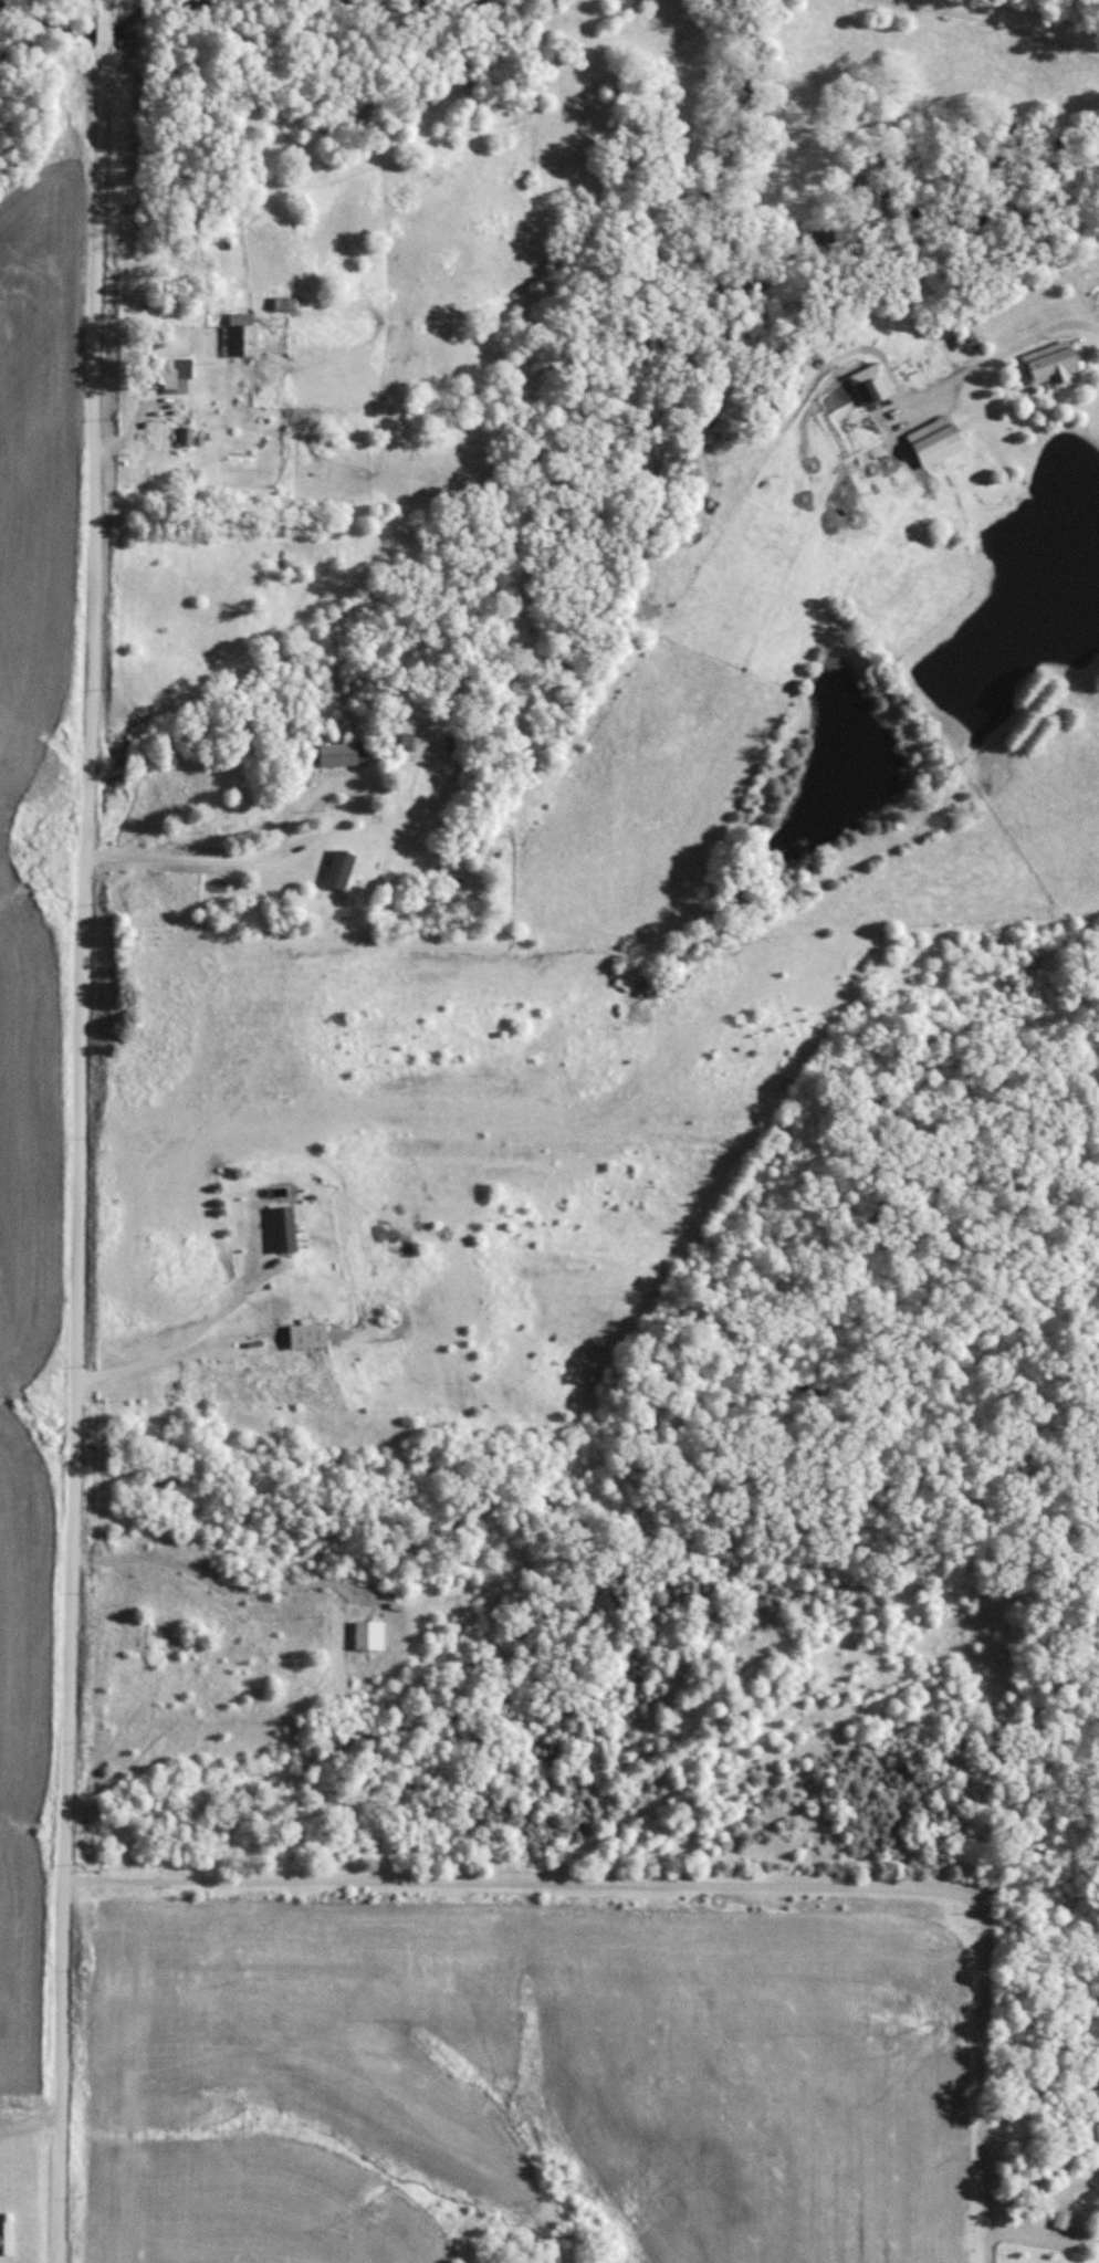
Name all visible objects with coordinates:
road: (1015, 28)
building: (284, 302)
building: (242, 333)
building: (1056, 366)
building: (170, 371)
building: (870, 384)
building: (939, 447)
building: (339, 754)
building: (342, 870)
road: (103, 1131)
building: (278, 1232)
building: (308, 1334)
building: (368, 1634)
building: (1067, 2220)
building: (7, 2239)

